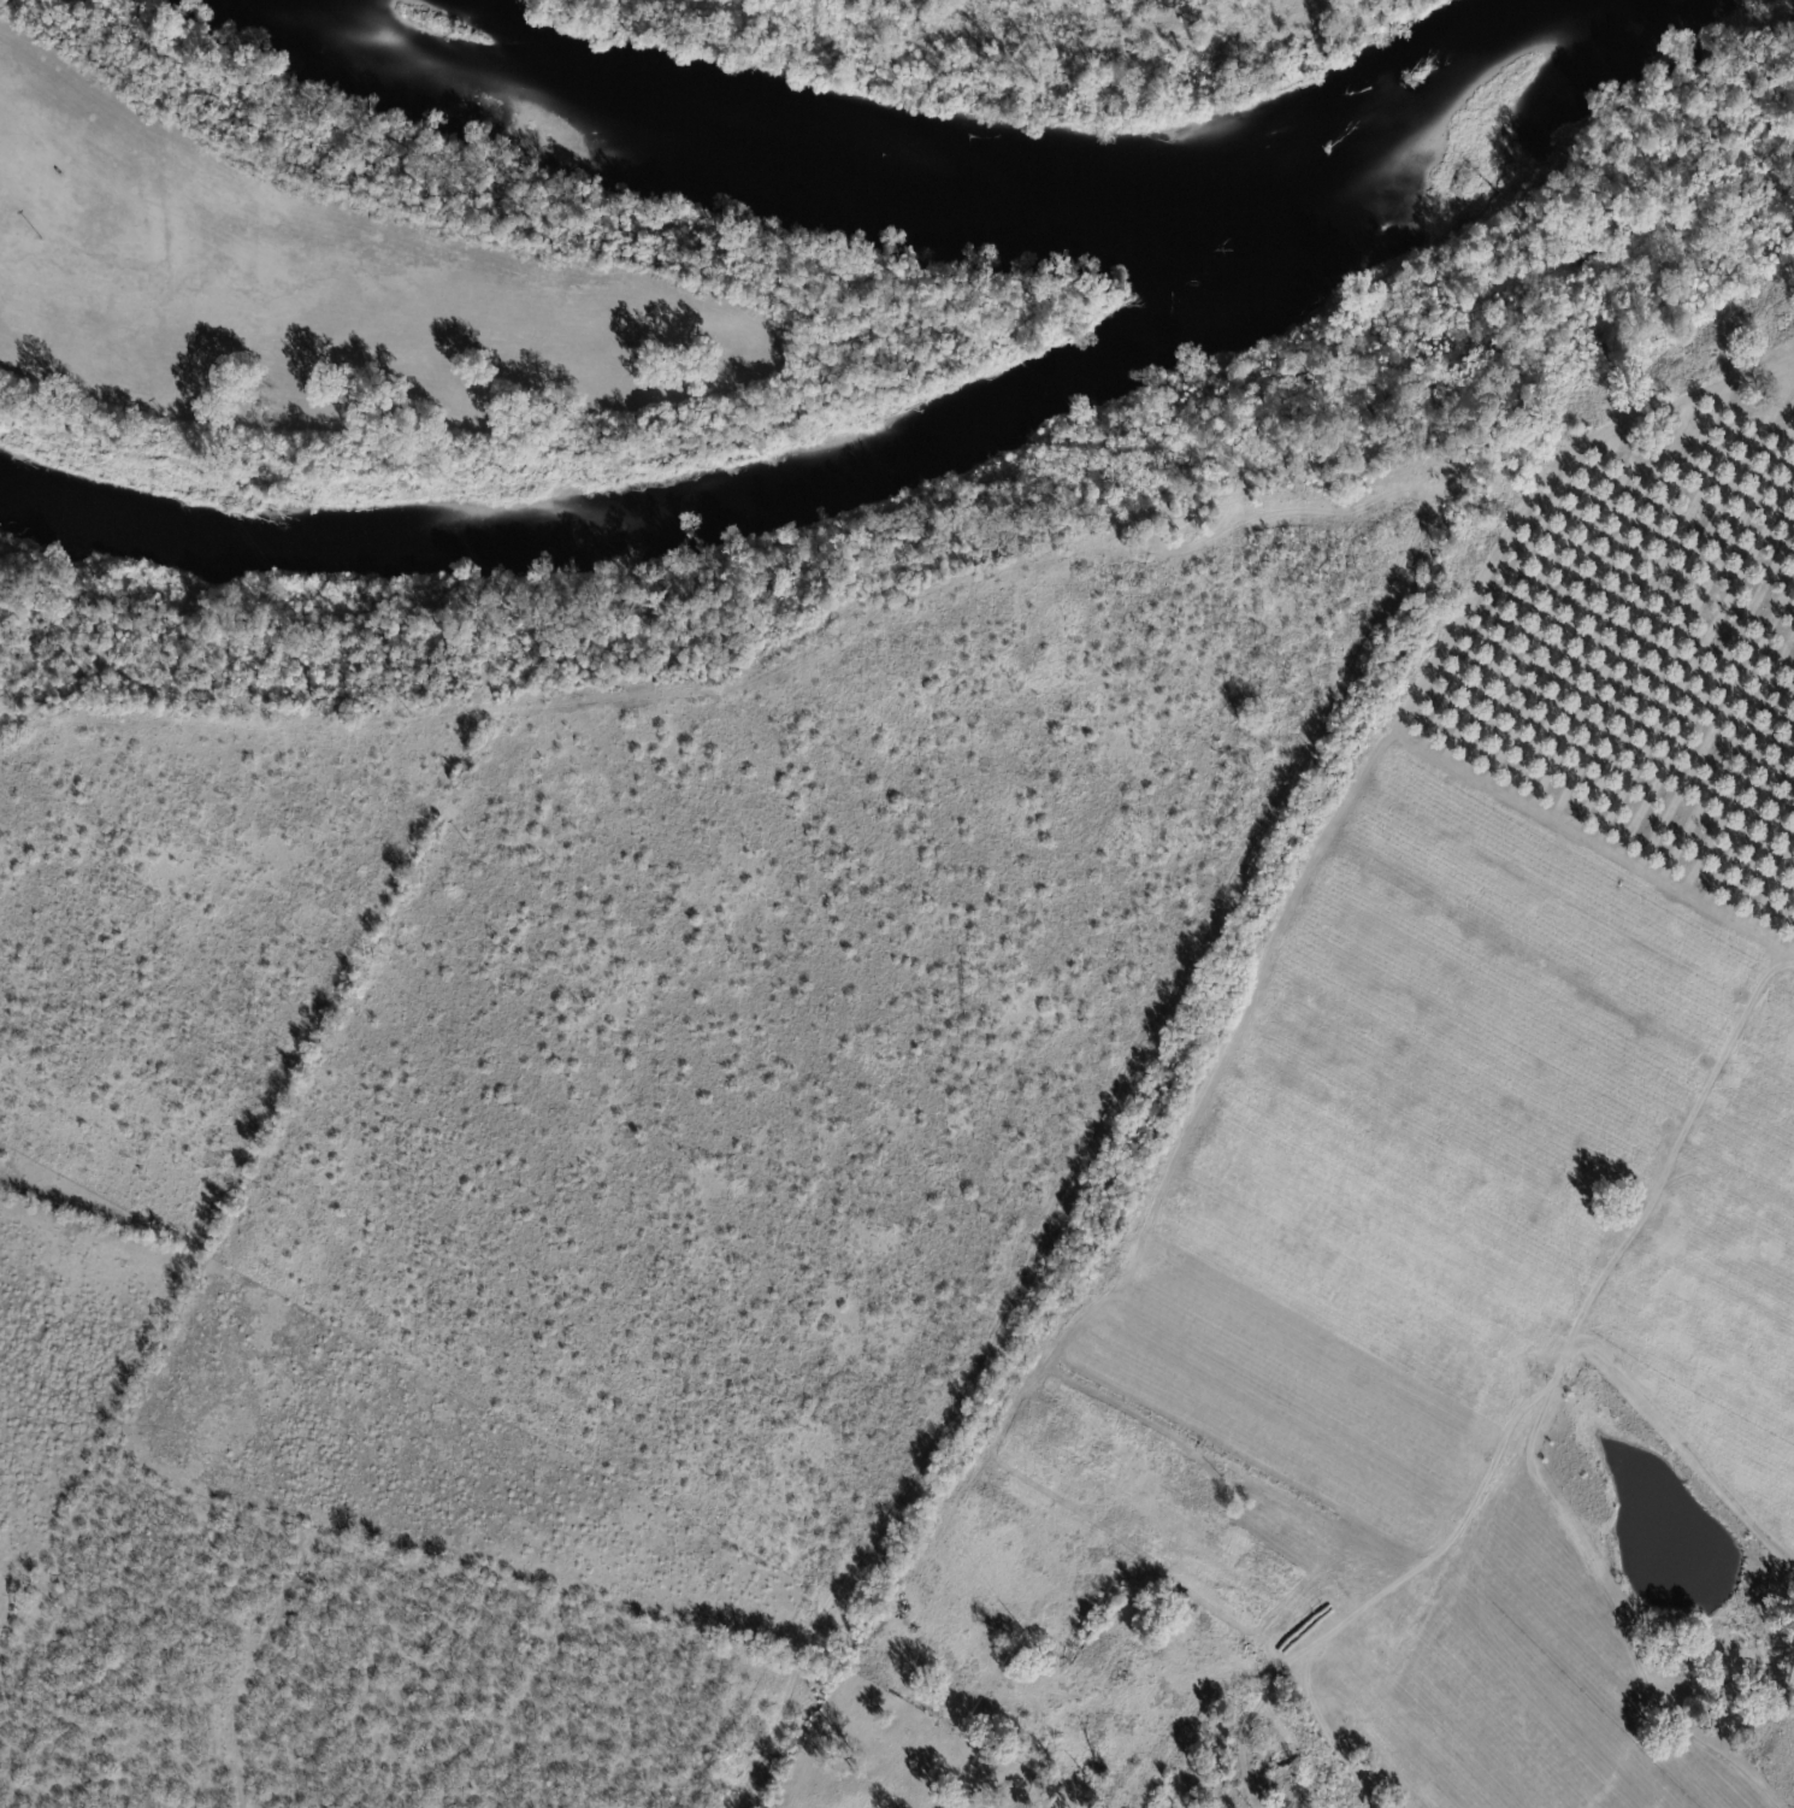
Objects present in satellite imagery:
river: (932, 183)
building: (972, 469)
river: (778, 493)

